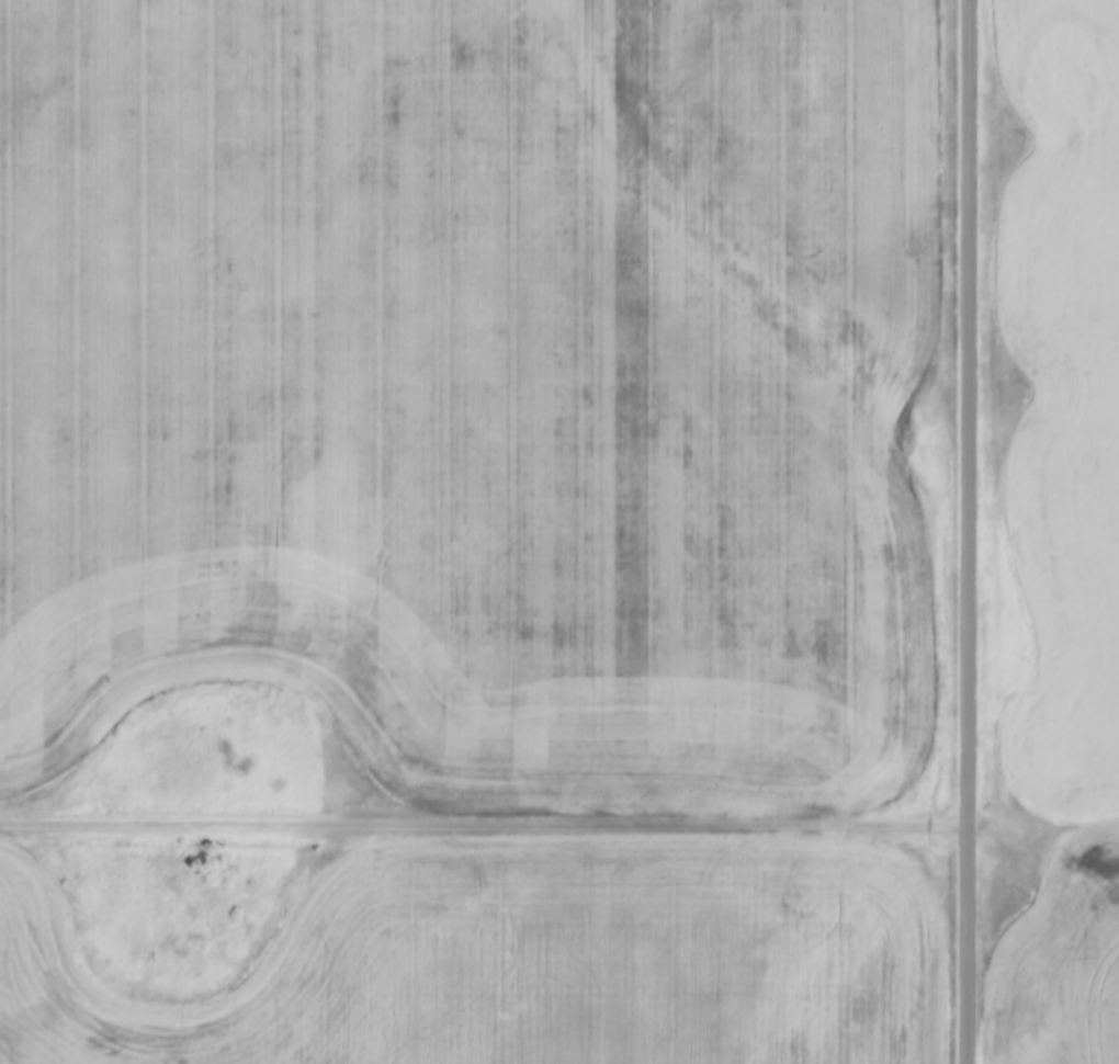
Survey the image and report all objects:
road: (964, 532)
road: (559, 822)

